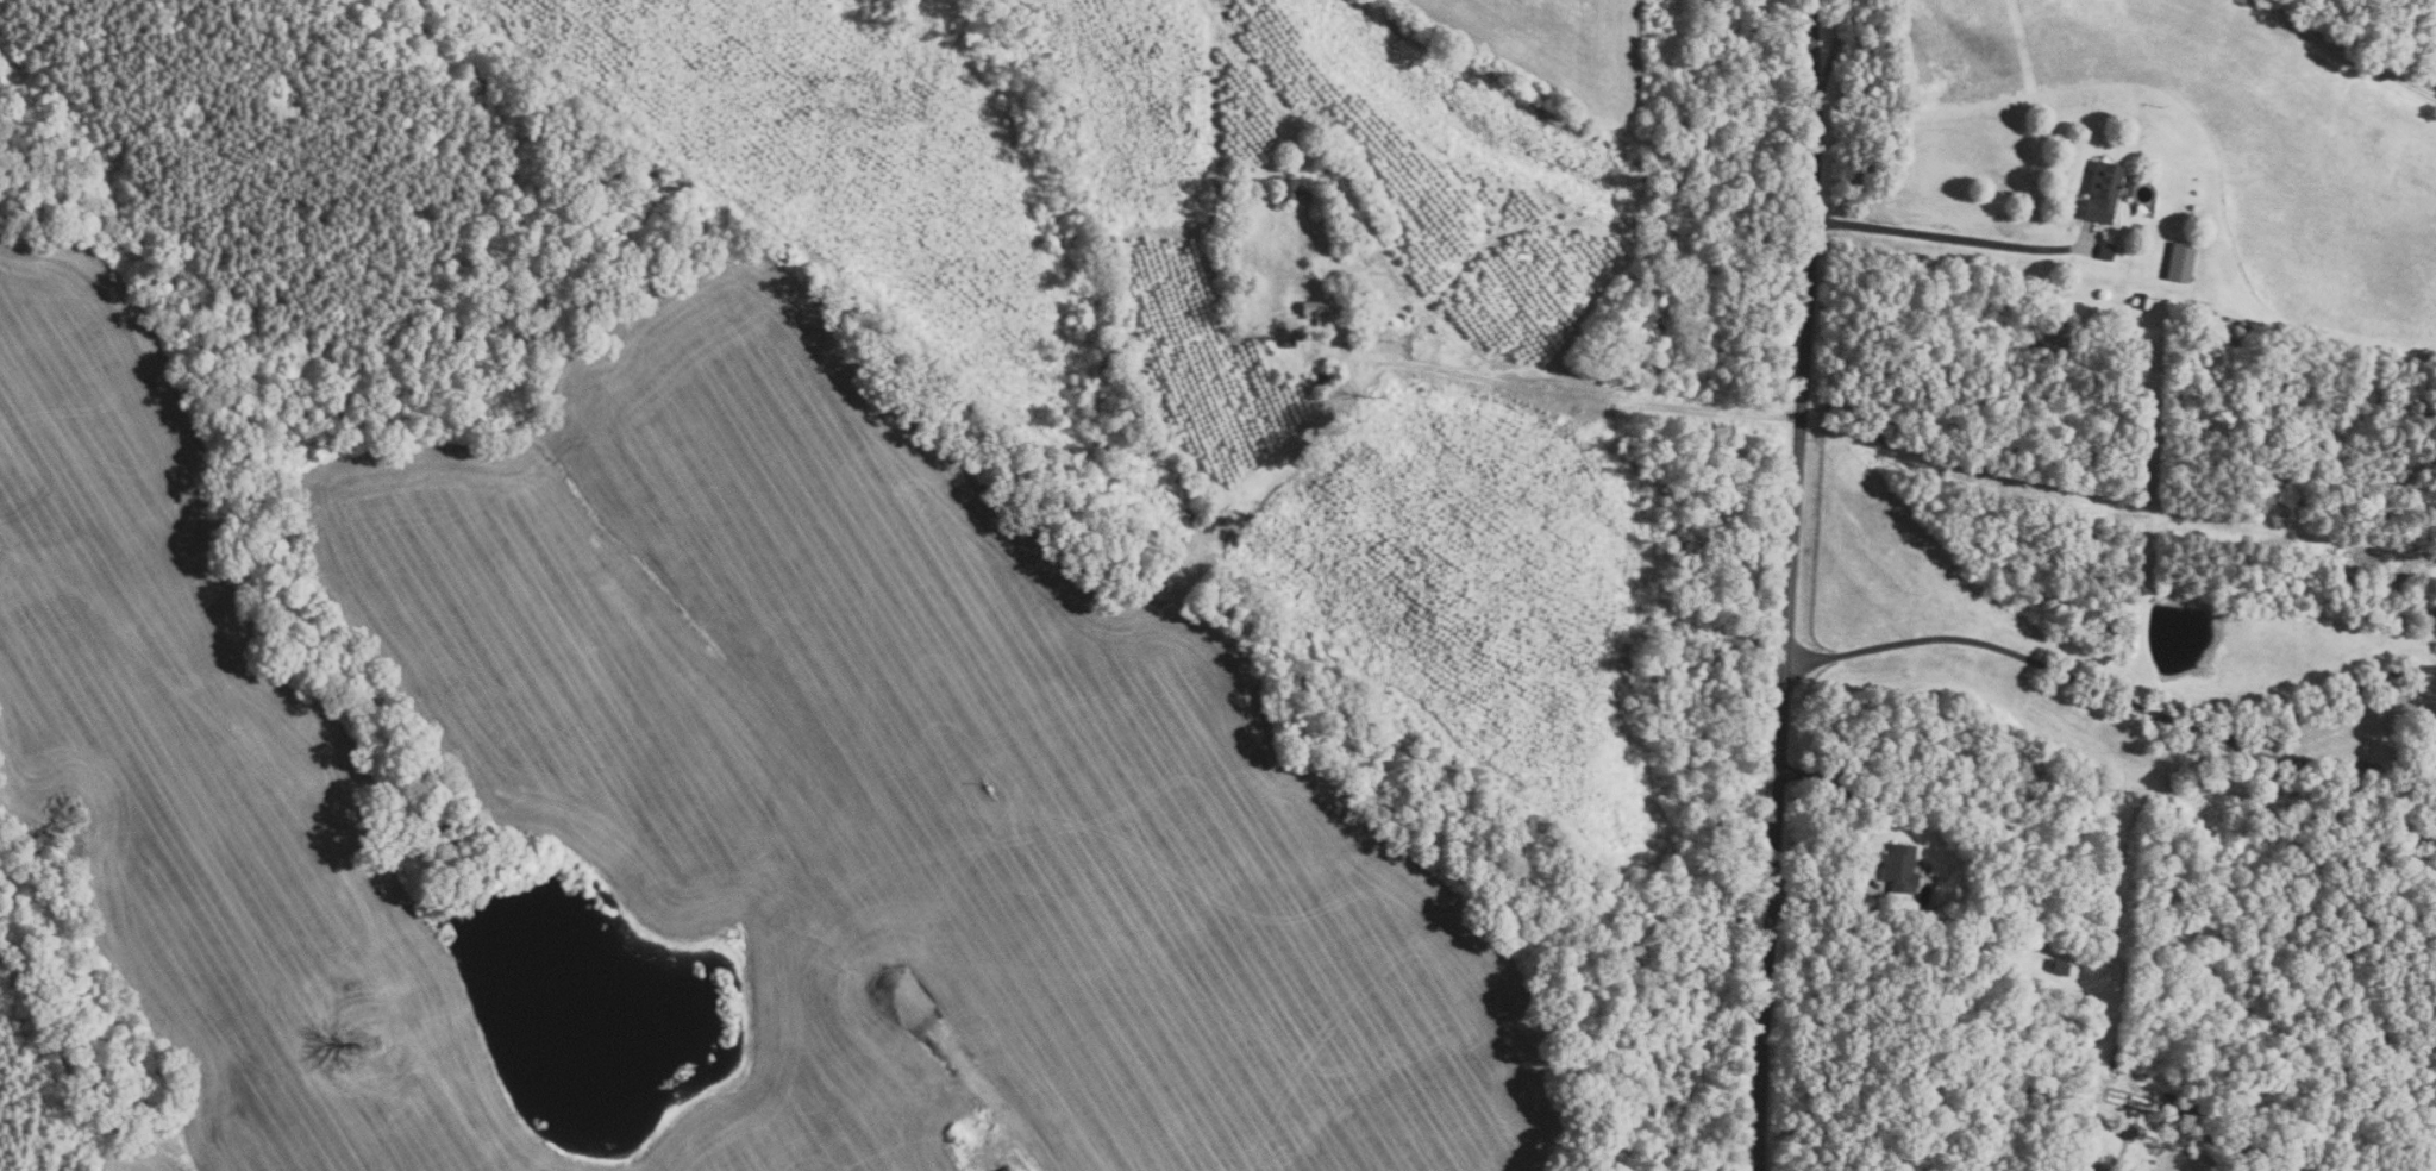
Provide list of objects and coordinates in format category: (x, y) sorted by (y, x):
road: (1829, 44)
road: (2355, 51)
crop: (1553, 55)
crop: (2236, 143)
building: (1283, 187)
building: (2102, 190)
road: (1940, 234)
building: (2105, 251)
building: (2179, 261)
building: (2142, 300)
building: (1320, 311)
building: (1255, 325)
building: (1288, 342)
road: (1552, 393)
road: (1787, 584)
road: (2012, 652)
road: (2334, 696)
road: (2362, 762)
crop: (915, 771)
crop: (205, 781)
road: (1856, 806)
road: (339, 822)
building: (1899, 868)
building: (2003, 965)
building: (2056, 965)
building: (1006, 1169)

